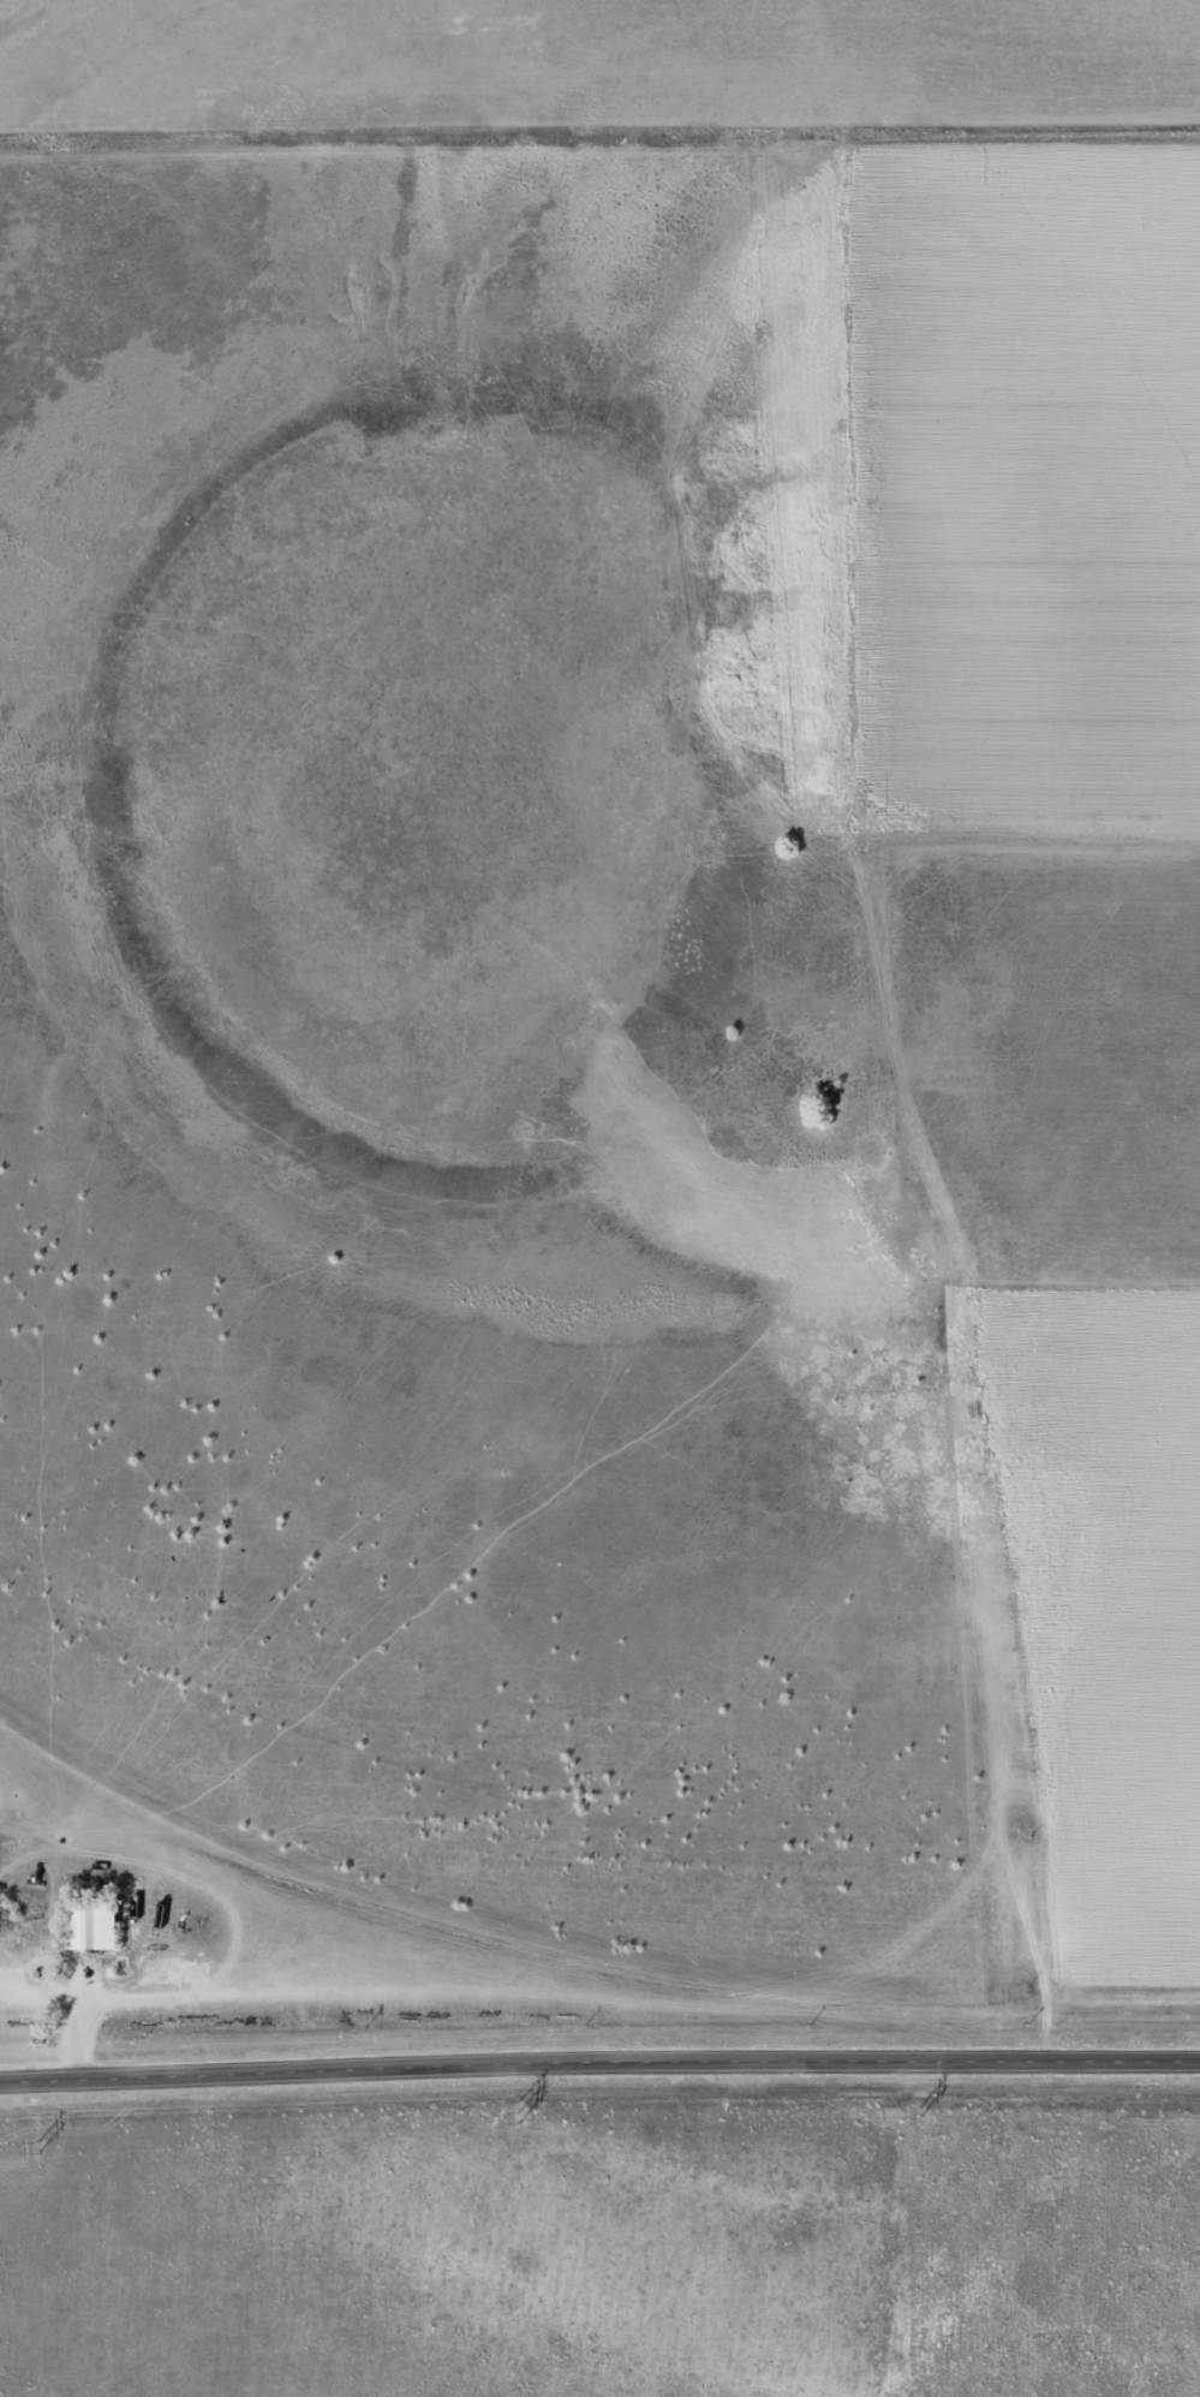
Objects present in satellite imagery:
building: (89, 1926)
road: (599, 2062)
power tower: (924, 2115)
power tower: (519, 2118)
power tower: (38, 2149)

